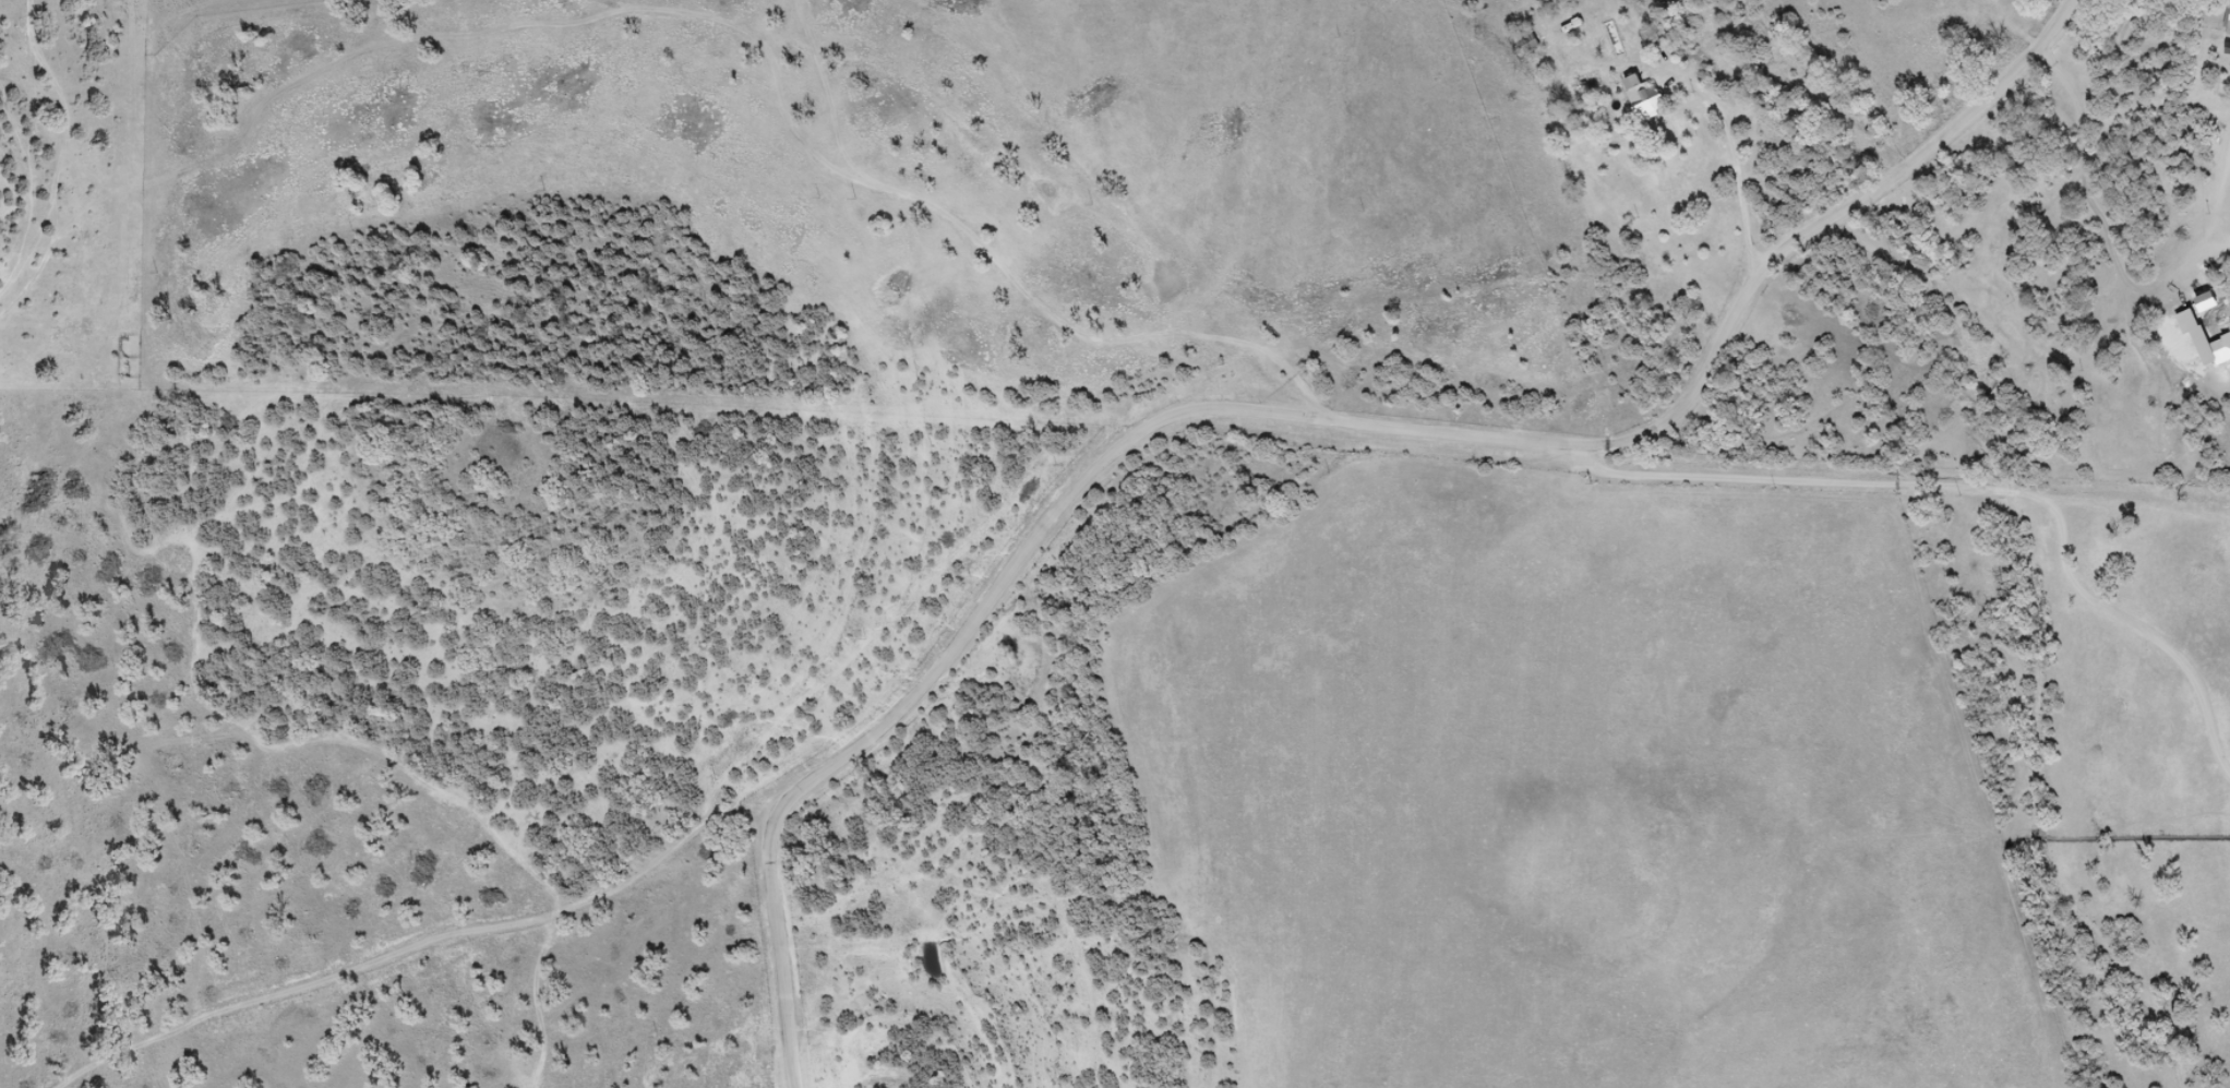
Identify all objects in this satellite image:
building: (2229, 34)
building: (1647, 95)
road: (1944, 432)
road: (1320, 446)

